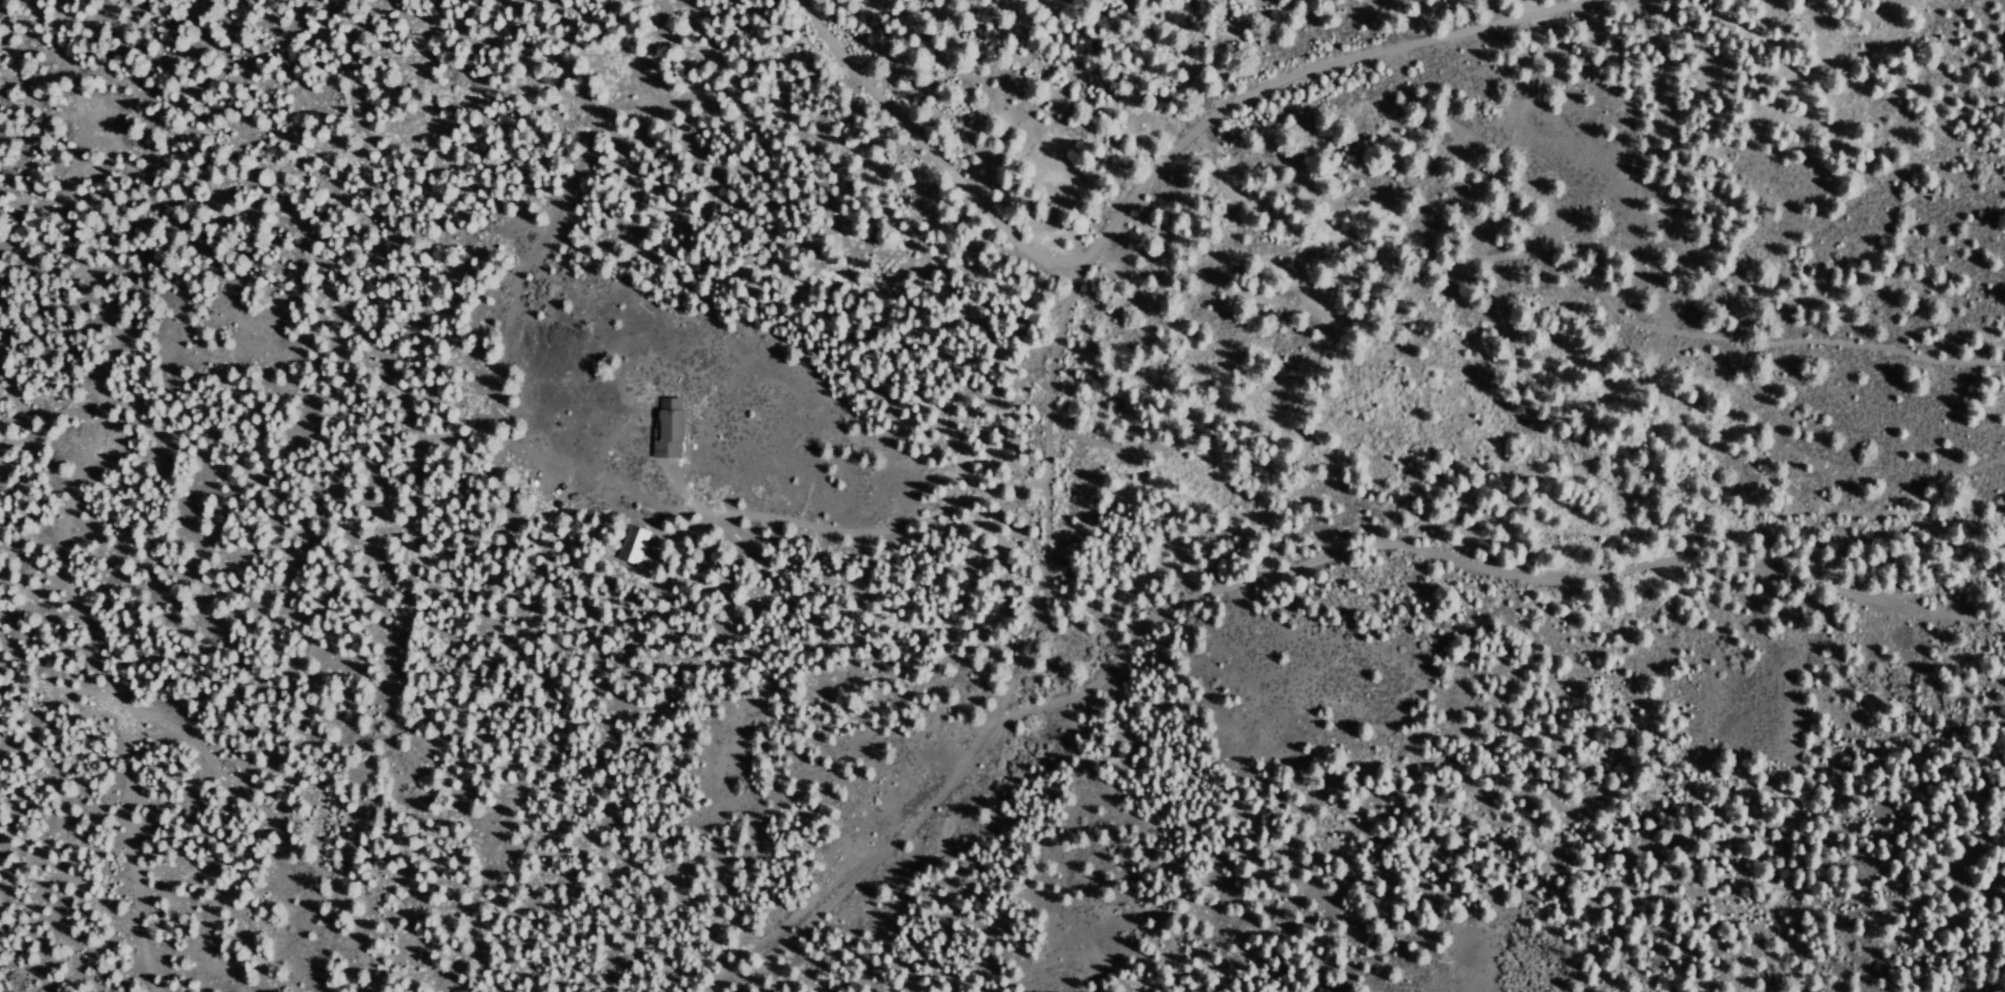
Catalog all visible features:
crop: (1501, 351)
road: (1043, 416)
building: (664, 427)

